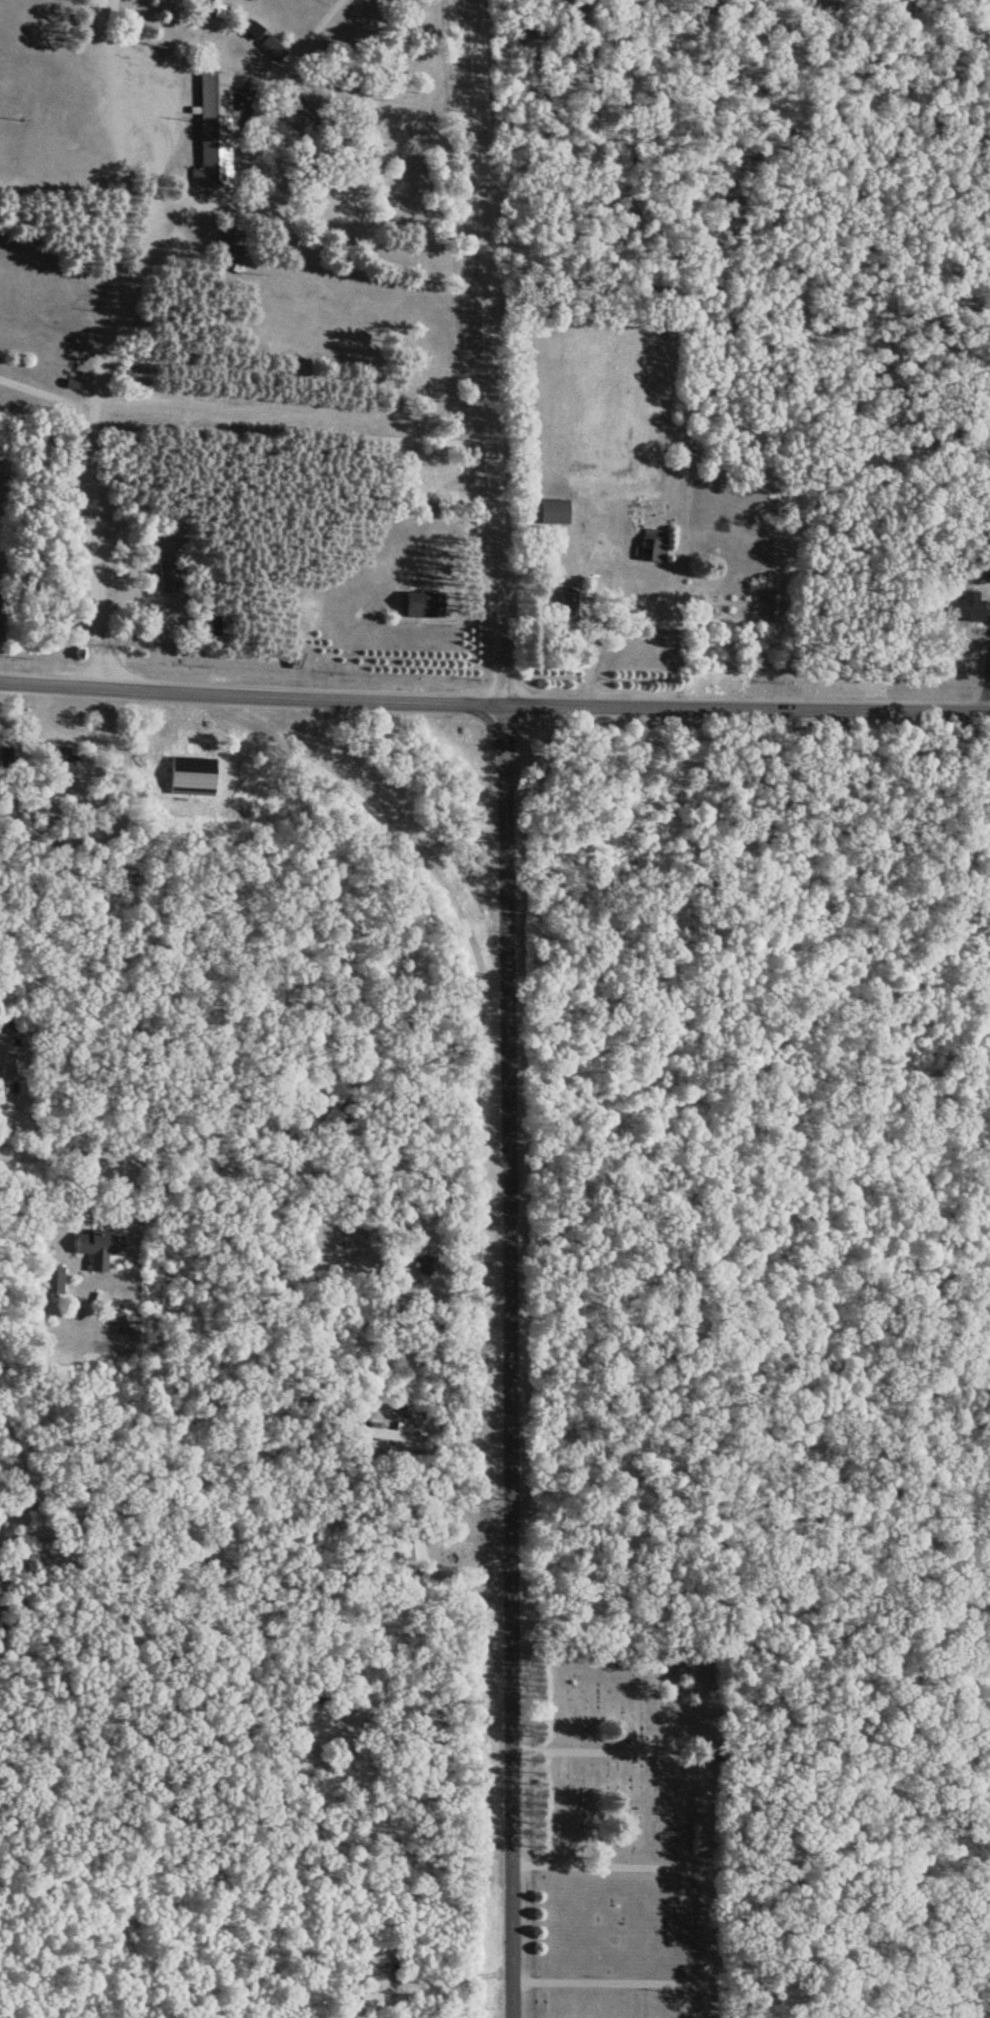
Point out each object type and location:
building: (218, 8)
building: (141, 14)
road: (322, 21)
building: (251, 28)
building: (272, 46)
road: (107, 74)
building: (301, 113)
building: (254, 115)
building: (213, 128)
park: (232, 221)
road: (117, 234)
road: (142, 237)
road: (488, 353)
road: (299, 379)
building: (71, 380)
road: (43, 393)
building: (553, 508)
road: (95, 511)
building: (657, 543)
building: (168, 572)
building: (965, 602)
building: (421, 604)
building: (567, 605)
road: (252, 692)
road: (747, 708)
building: (12, 1060)
road: (187, 1063)
road: (256, 1157)
building: (98, 1241)
building: (425, 1263)
building: (53, 1278)
road: (513, 1361)
building: (385, 1431)
park: (624, 1831)

